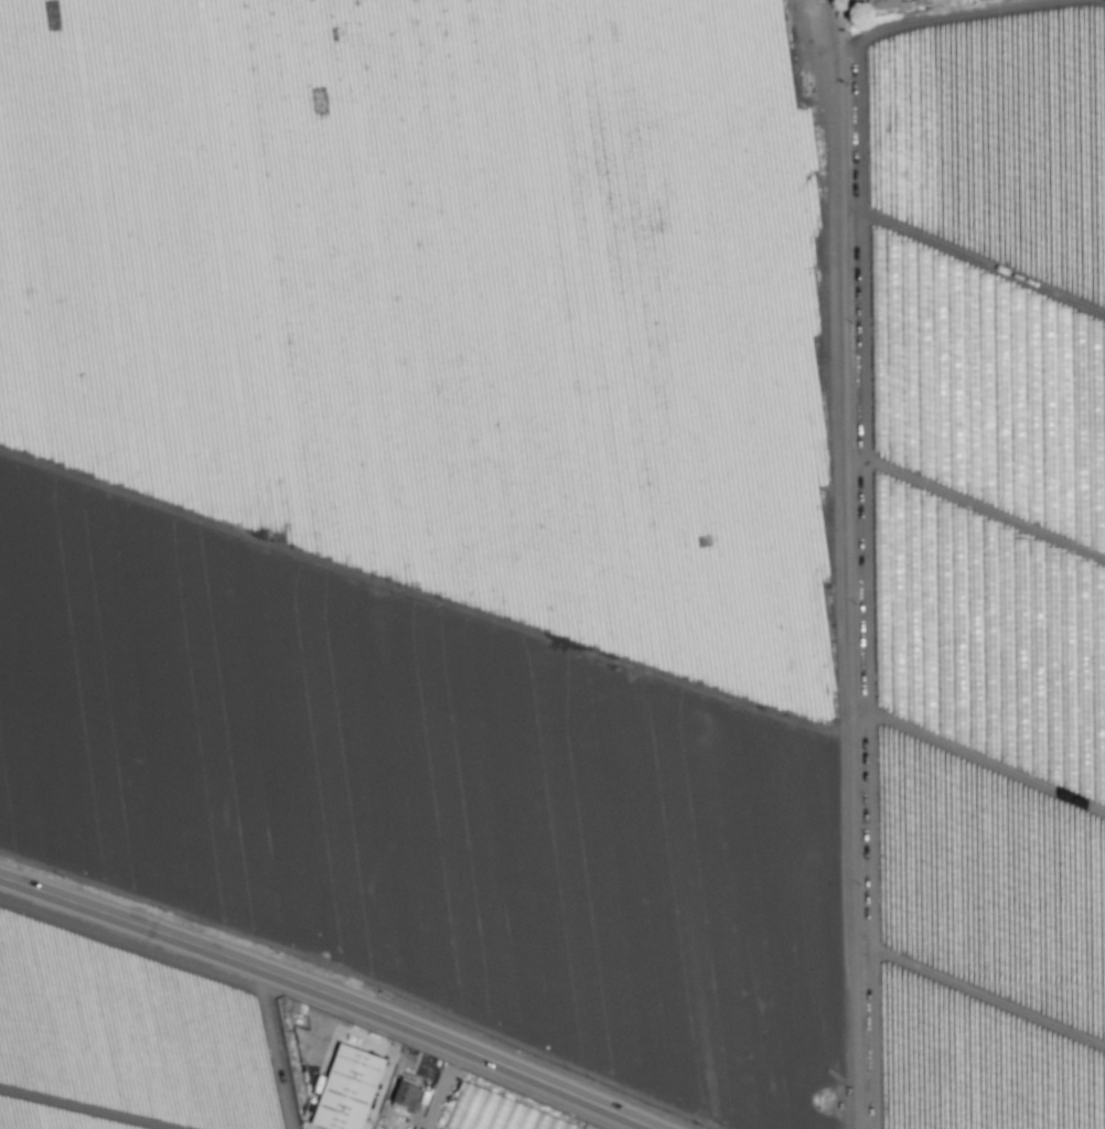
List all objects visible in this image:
building: (940, 1)
road: (848, 563)
crop: (552, 564)
road: (332, 993)
building: (347, 1088)
building: (406, 1095)
building: (497, 1112)

